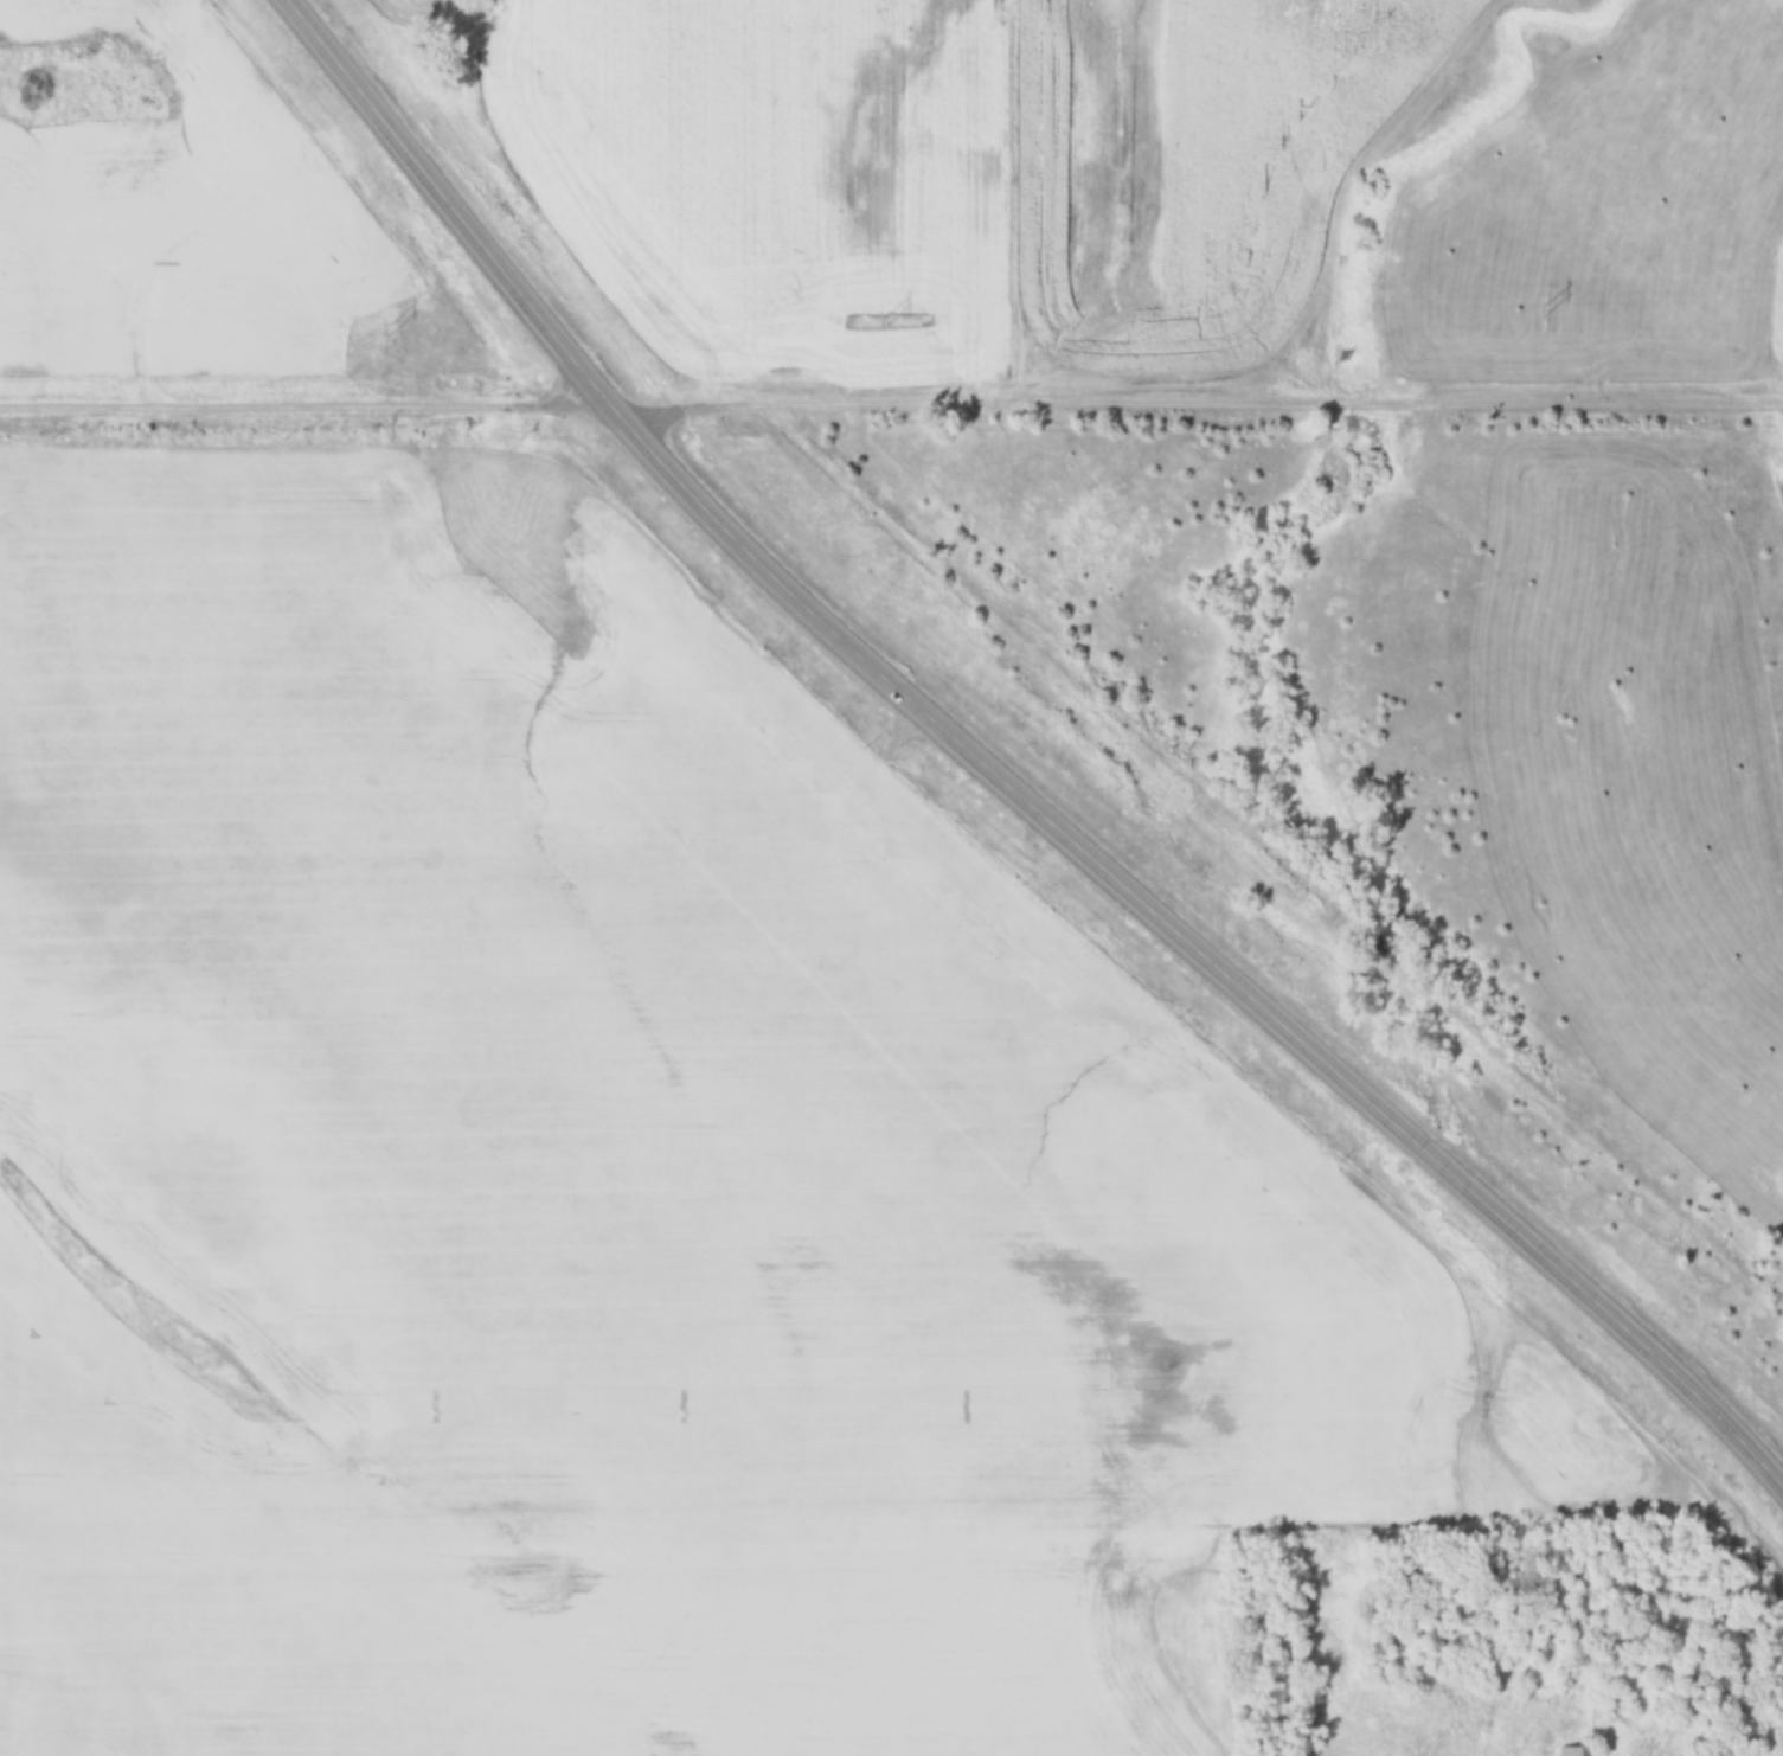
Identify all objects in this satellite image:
power tower: (1543, 309)
power tower: (885, 321)
power tower: (390, 329)
road: (891, 408)
road: (996, 773)
building: (1570, 1750)

